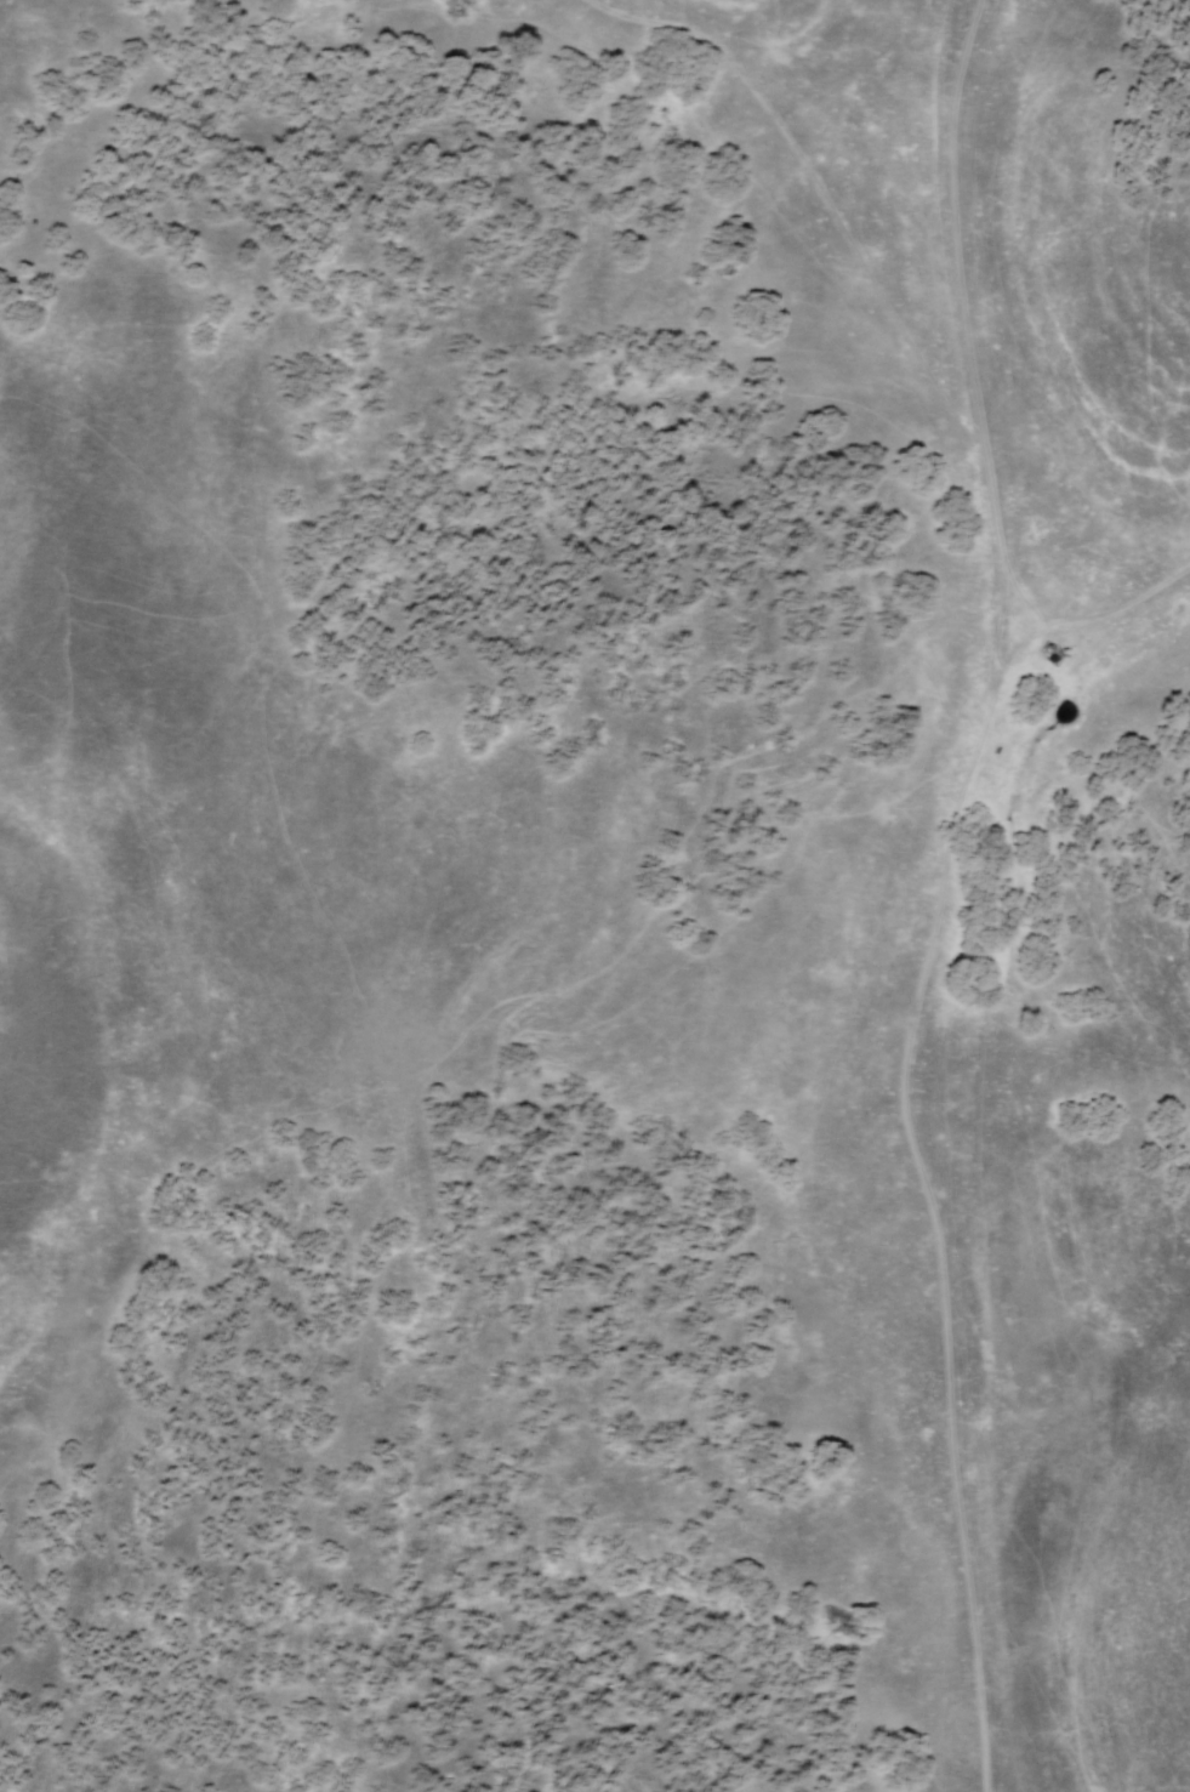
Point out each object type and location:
road: (1088, 624)
road: (934, 893)

